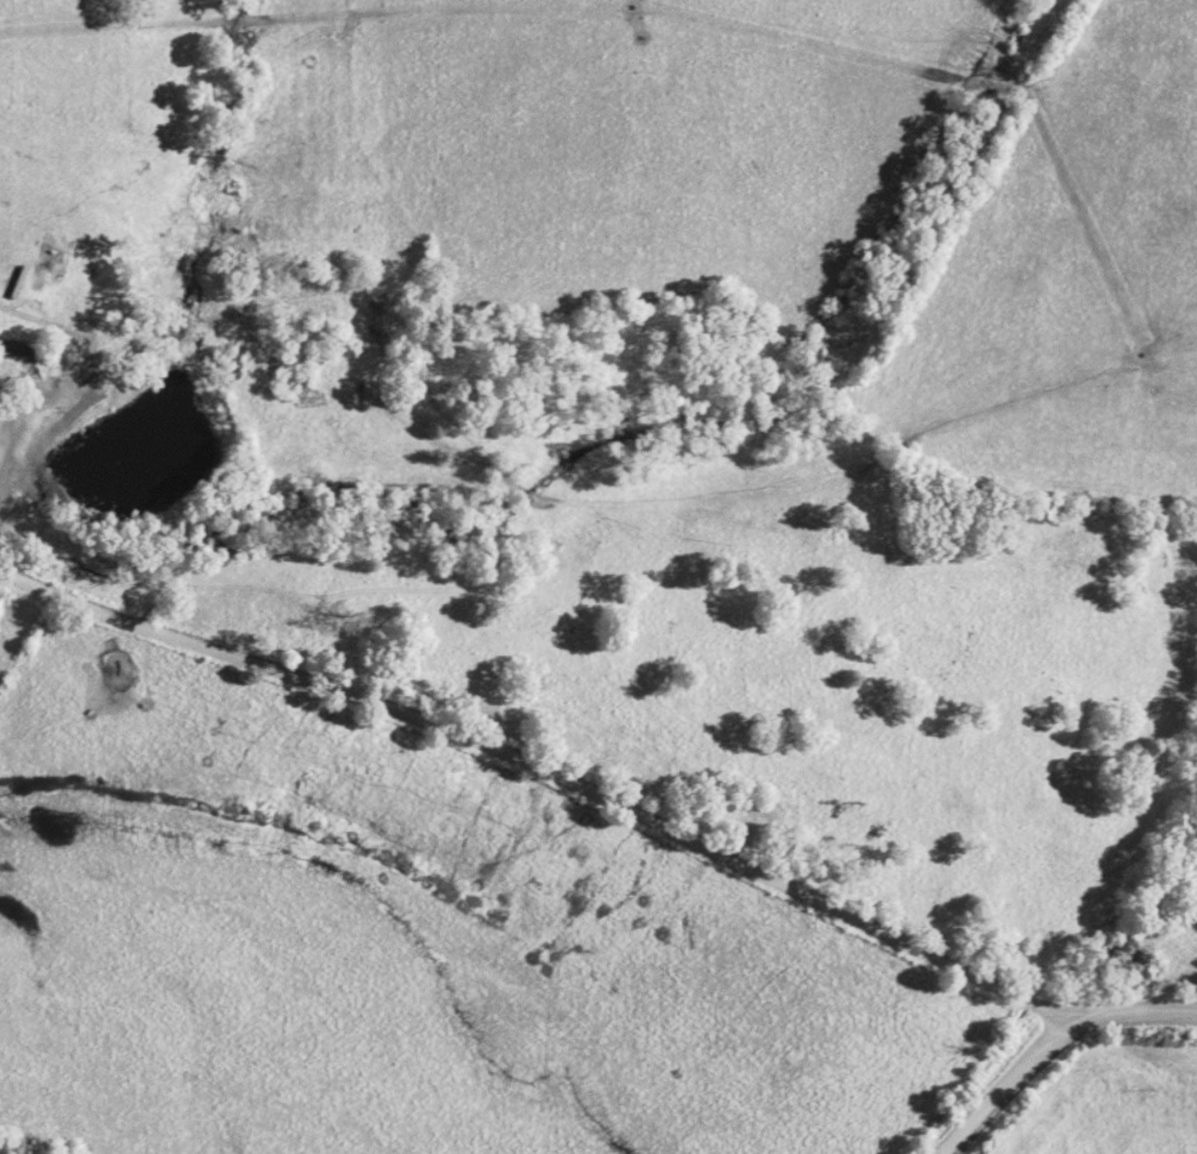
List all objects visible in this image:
road: (11, 429)
road: (541, 770)
road: (1126, 1018)
road: (997, 1090)

